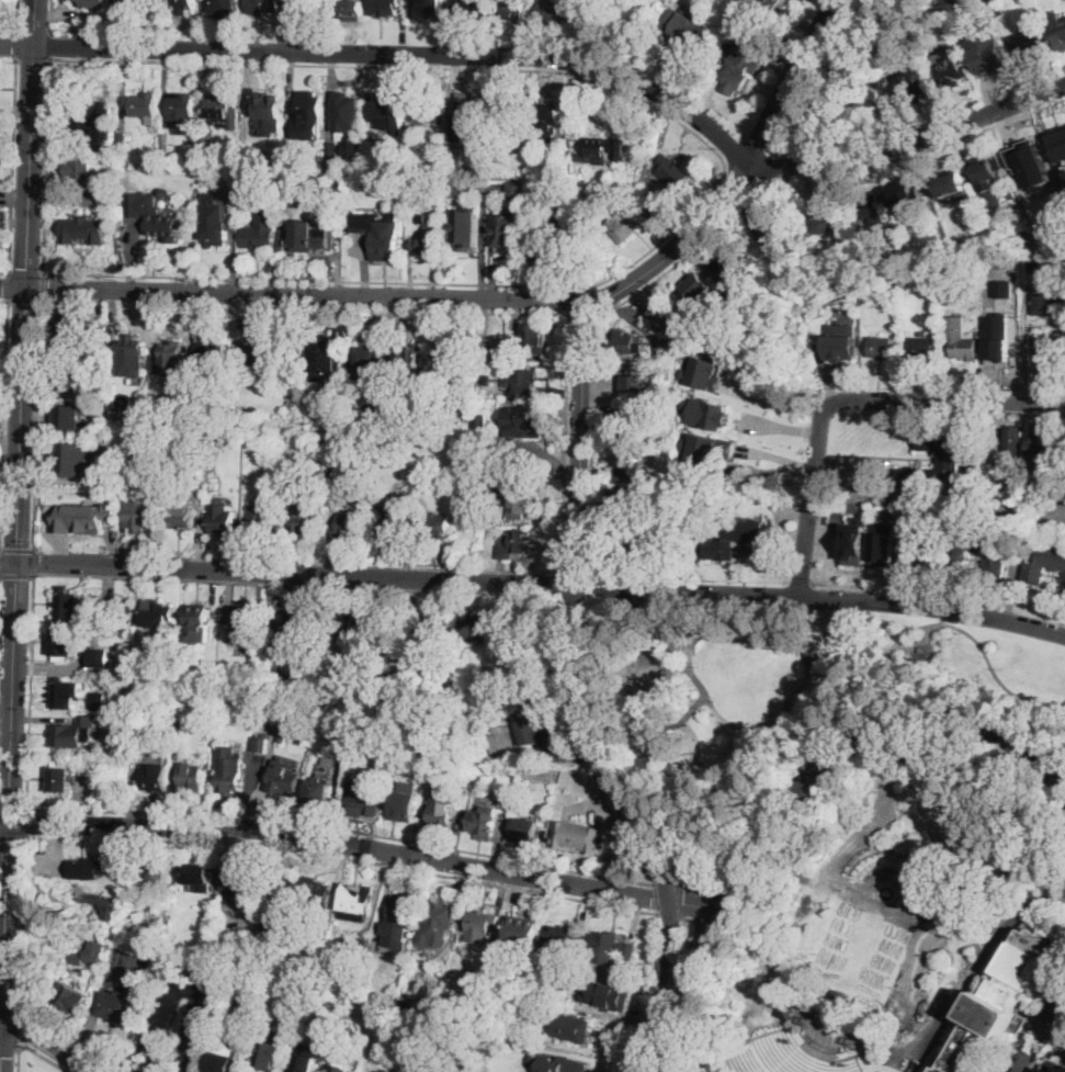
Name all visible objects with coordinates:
building: (778, 0)
building: (967, 0)
building: (959, 1)
building: (97, 3)
building: (148, 4)
building: (223, 5)
building: (182, 7)
building: (263, 7)
building: (350, 7)
building: (387, 7)
building: (304, 8)
building: (431, 8)
building: (469, 9)
building: (514, 9)
building: (551, 14)
road: (19, 15)
road: (52, 15)
building: (596, 22)
building: (686, 27)
building: (1057, 30)
building: (1030, 42)
building: (910, 43)
road: (52, 44)
road: (18, 45)
road: (389, 53)
building: (993, 58)
building: (741, 61)
building: (953, 72)
road: (862, 76)
road: (788, 77)
road: (846, 89)
building: (914, 89)
building: (144, 106)
building: (267, 109)
building: (182, 110)
building: (307, 110)
building: (385, 110)
building: (223, 111)
building: (469, 111)
building: (428, 112)
building: (348, 115)
building: (508, 116)
building: (551, 122)
building: (97, 126)
building: (123, 138)
building: (195, 139)
road: (909, 140)
building: (166, 142)
building: (205, 142)
road: (30, 144)
building: (1058, 147)
building: (608, 150)
road: (915, 154)
building: (332, 156)
building: (412, 158)
building: (269, 161)
road: (47, 165)
building: (458, 165)
road: (13, 166)
building: (351, 167)
road: (764, 167)
building: (80, 168)
building: (318, 168)
building: (427, 171)
building: (987, 171)
building: (673, 173)
building: (233, 178)
road: (722, 178)
building: (650, 181)
road: (739, 181)
building: (274, 185)
building: (952, 185)
building: (460, 188)
building: (518, 190)
building: (163, 191)
building: (904, 192)
building: (106, 196)
building: (1047, 204)
building: (872, 208)
building: (152, 216)
building: (1062, 219)
building: (826, 222)
building: (2, 223)
building: (623, 226)
building: (781, 226)
building: (467, 227)
building: (214, 228)
building: (83, 229)
building: (508, 229)
building: (259, 233)
building: (379, 234)
building: (307, 237)
building: (430, 239)
building: (1029, 240)
building: (955, 247)
building: (554, 250)
building: (941, 251)
building: (726, 262)
building: (881, 272)
road: (26, 273)
road: (9, 286)
road: (43, 286)
building: (698, 286)
road: (12, 289)
traffic signals: (26, 289)
road: (309, 295)
road: (4, 300)
road: (25, 301)
building: (1051, 302)
building: (666, 319)
building: (66, 326)
building: (898, 326)
building: (100, 328)
building: (535, 337)
building: (961, 339)
road: (596, 341)
building: (631, 343)
building: (841, 343)
road: (1024, 343)
building: (489, 347)
building: (882, 347)
building: (822, 348)
building: (921, 348)
road: (569, 351)
building: (1000, 351)
building: (208, 354)
building: (131, 357)
building: (168, 358)
building: (324, 358)
building: (264, 359)
building: (410, 360)
road: (5, 361)
building: (454, 362)
building: (369, 363)
building: (1054, 363)
building: (705, 372)
building: (66, 376)
building: (485, 379)
building: (522, 381)
building: (637, 381)
road: (948, 398)
building: (123, 402)
road: (779, 405)
building: (460, 406)
building: (706, 413)
building: (67, 417)
building: (480, 421)
building: (523, 422)
road: (37, 425)
building: (627, 425)
road: (3, 426)
road: (10, 426)
road: (20, 426)
building: (421, 426)
building: (104, 431)
building: (129, 433)
building: (150, 440)
building: (173, 440)
building: (1015, 441)
building: (1047, 443)
building: (709, 448)
building: (72, 459)
building: (949, 459)
building: (998, 462)
building: (632, 465)
building: (332, 475)
building: (109, 477)
building: (292, 483)
road: (1, 489)
road: (809, 496)
building: (223, 499)
building: (408, 499)
building: (521, 503)
road: (577, 503)
building: (178, 510)
building: (140, 514)
building: (81, 517)
building: (306, 518)
building: (222, 519)
building: (390, 521)
building: (260, 523)
building: (349, 526)
building: (437, 527)
building: (857, 539)
building: (648, 540)
building: (513, 545)
building: (895, 546)
building: (721, 548)
road: (16, 550)
building: (979, 550)
road: (297, 561)
building: (1045, 562)
road: (8, 563)
road: (33, 563)
road: (575, 573)
road: (15, 576)
road: (818, 580)
building: (1064, 583)
road: (542, 584)
road: (563, 585)
road: (589, 586)
road: (576, 598)
road: (648, 601)
building: (65, 603)
building: (125, 613)
road: (798, 613)
building: (157, 614)
building: (293, 622)
building: (340, 622)
building: (197, 623)
road: (949, 623)
building: (246, 624)
building: (384, 624)
building: (479, 627)
road: (754, 627)
building: (434, 629)
building: (65, 646)
building: (812, 646)
building: (170, 666)
road: (681, 670)
park: (652, 674)
building: (61, 693)
park: (785, 698)
building: (100, 701)
road: (694, 704)
building: (528, 721)
building: (139, 724)
building: (178, 724)
building: (667, 724)
building: (72, 732)
road: (870, 733)
building: (283, 735)
road: (643, 741)
building: (259, 744)
building: (468, 744)
building: (328, 759)
building: (229, 771)
building: (190, 776)
building: (60, 777)
building: (152, 778)
road: (8, 779)
building: (284, 779)
road: (820, 786)
building: (318, 794)
building: (365, 799)
building: (405, 802)
road: (13, 809)
building: (443, 811)
road: (3, 822)
road: (27, 822)
building: (484, 822)
building: (525, 832)
road: (12, 836)
building: (577, 836)
road: (748, 844)
road: (366, 846)
building: (89, 868)
road: (424, 872)
building: (154, 873)
building: (195, 874)
building: (926, 878)
road: (641, 880)
building: (238, 884)
building: (280, 884)
road: (673, 884)
building: (316, 891)
road: (734, 895)
road: (657, 898)
road: (727, 901)
building: (356, 903)
road: (692, 903)
building: (106, 905)
road: (23, 915)
building: (401, 915)
building: (208, 922)
building: (435, 923)
park: (893, 924)
building: (483, 926)
building: (523, 930)
building: (271, 933)
building: (322, 935)
building: (560, 939)
road: (692, 943)
building: (362, 945)
building: (609, 947)
building: (373, 952)
building: (89, 953)
road: (692, 961)
traffic signals: (4, 968)
road: (975, 971)
building: (239, 980)
road: (10, 984)
road: (667, 989)
road: (194, 991)
building: (610, 994)
building: (840, 995)
building: (70, 998)
building: (1002, 998)
road: (1, 1001)
building: (598, 1004)
building: (400, 1005)
building: (116, 1006)
building: (539, 1007)
road: (3, 1009)
building: (786, 1011)
traffic signals: (26, 1012)
building: (372, 1016)
road: (1032, 1016)
road: (20, 1019)
building: (569, 1026)
road: (657, 1026)
road: (1039, 1027)
road: (88, 1034)
road: (68, 1036)
building: (861, 1041)
road: (690, 1042)
road: (1047, 1042)
road: (2, 1047)
road: (47, 1047)
road: (9, 1049)
road: (658, 1052)
traffic signals: (1, 1056)
building: (269, 1056)
road: (45, 1057)
building: (228, 1057)
building: (305, 1057)
road: (18, 1058)
building: (522, 1059)
building: (550, 1062)
road: (148, 1063)
building: (342, 1067)
building: (461, 1068)
building: (1058, 1069)
building: (383, 1070)

